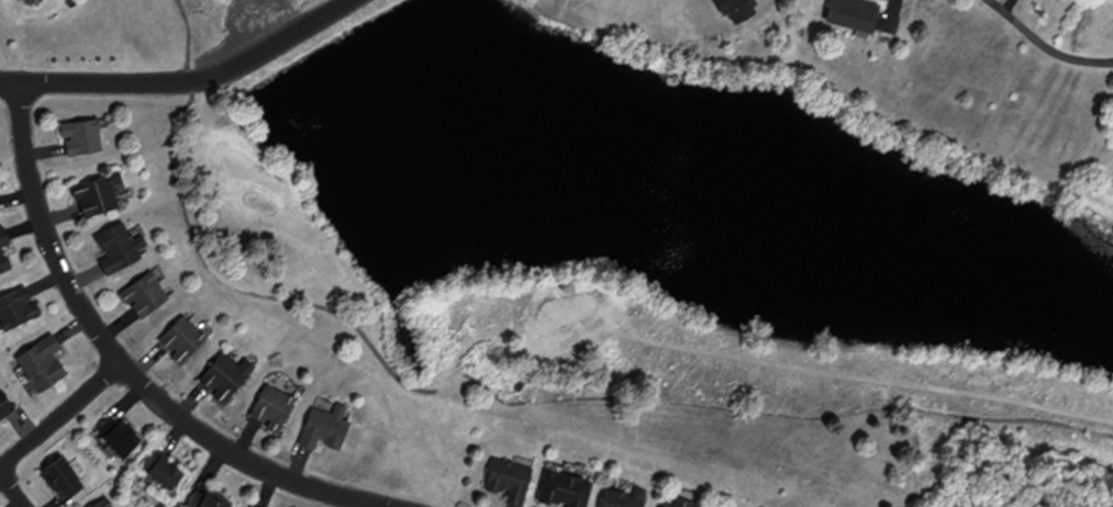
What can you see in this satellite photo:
building: (31, 1)
building: (857, 13)
road: (1044, 45)
road: (186, 81)
building: (85, 135)
building: (99, 192)
building: (0, 207)
park: (623, 244)
building: (122, 246)
building: (4, 250)
building: (147, 294)
building: (18, 306)
building: (186, 338)
road: (123, 361)
building: (44, 363)
building: (229, 375)
building: (7, 405)
building: (276, 407)
road: (63, 417)
building: (327, 428)
building: (119, 436)
building: (165, 471)
building: (66, 475)
building: (513, 477)
road: (14, 487)
building: (568, 487)
building: (626, 497)
building: (209, 500)
building: (681, 502)
building: (105, 503)
building: (254, 506)
building: (255, 506)

